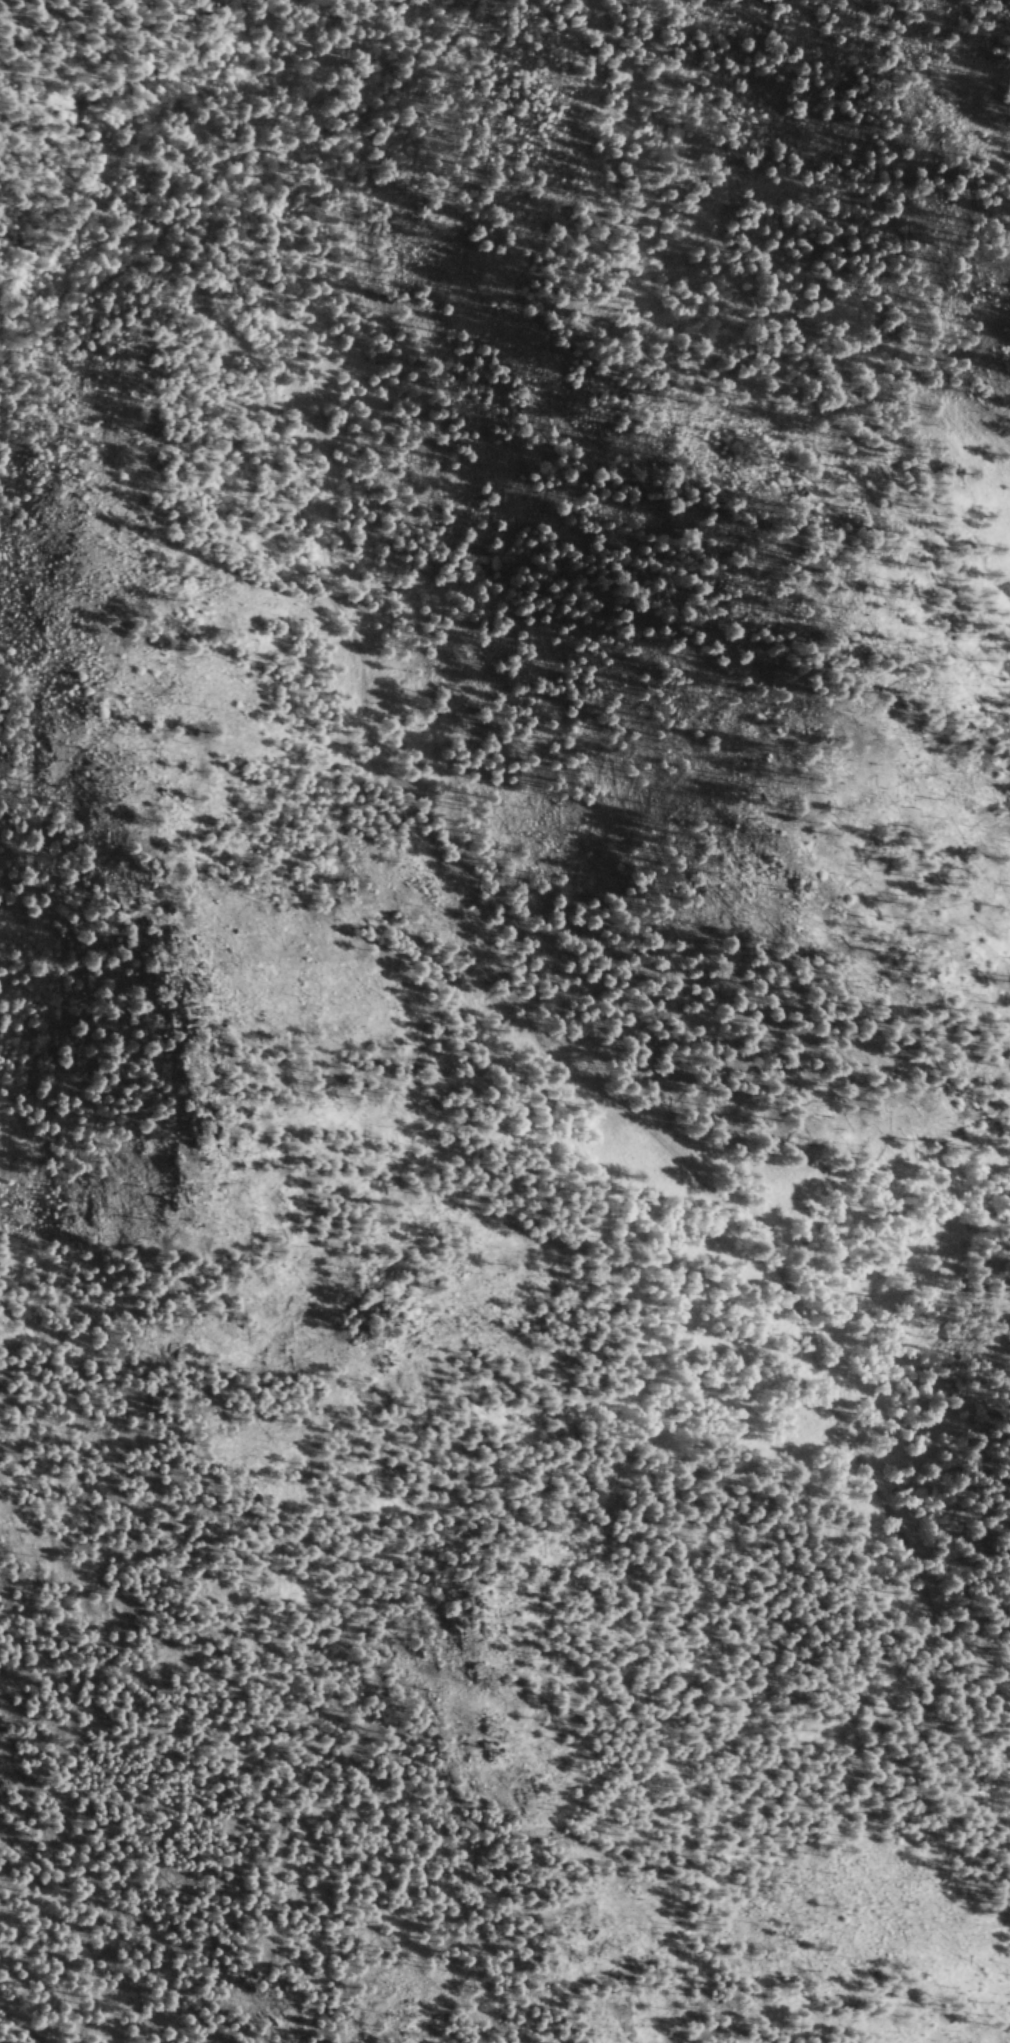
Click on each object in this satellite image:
road: (26, 2020)

